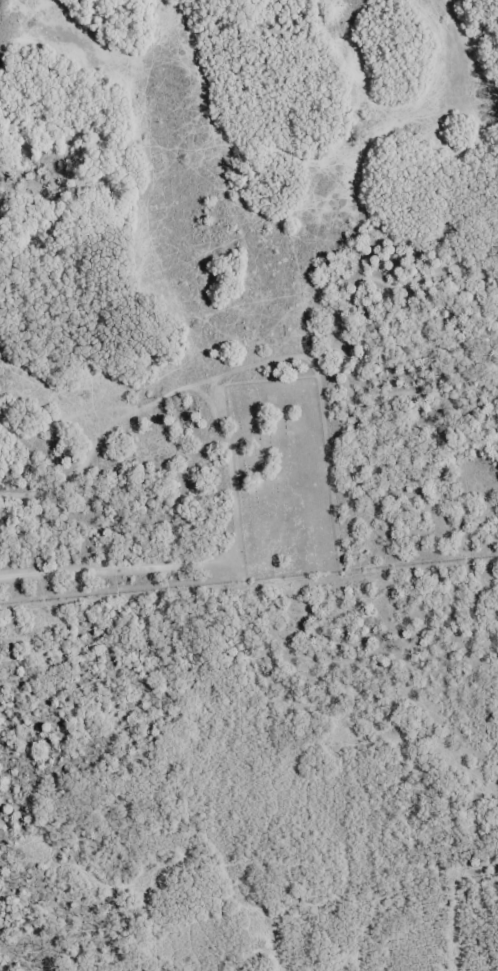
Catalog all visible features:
road: (3, 1)
road: (72, 188)
park: (282, 479)

